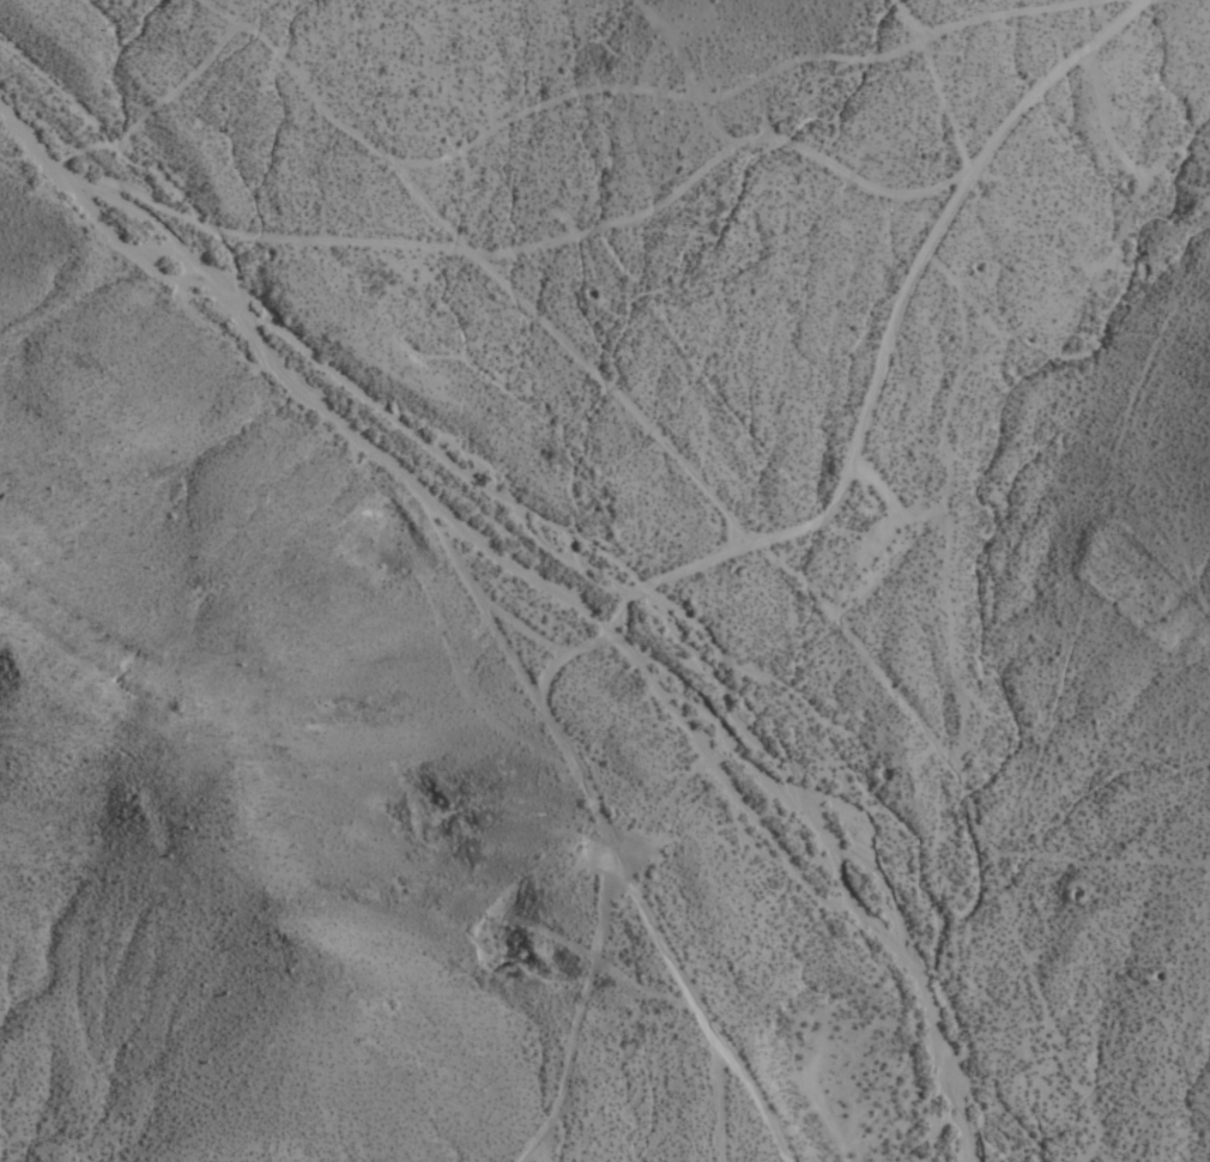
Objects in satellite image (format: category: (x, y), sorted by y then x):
road: (552, 246)
road: (905, 398)
road: (715, 510)
road: (436, 607)
road: (587, 1012)

